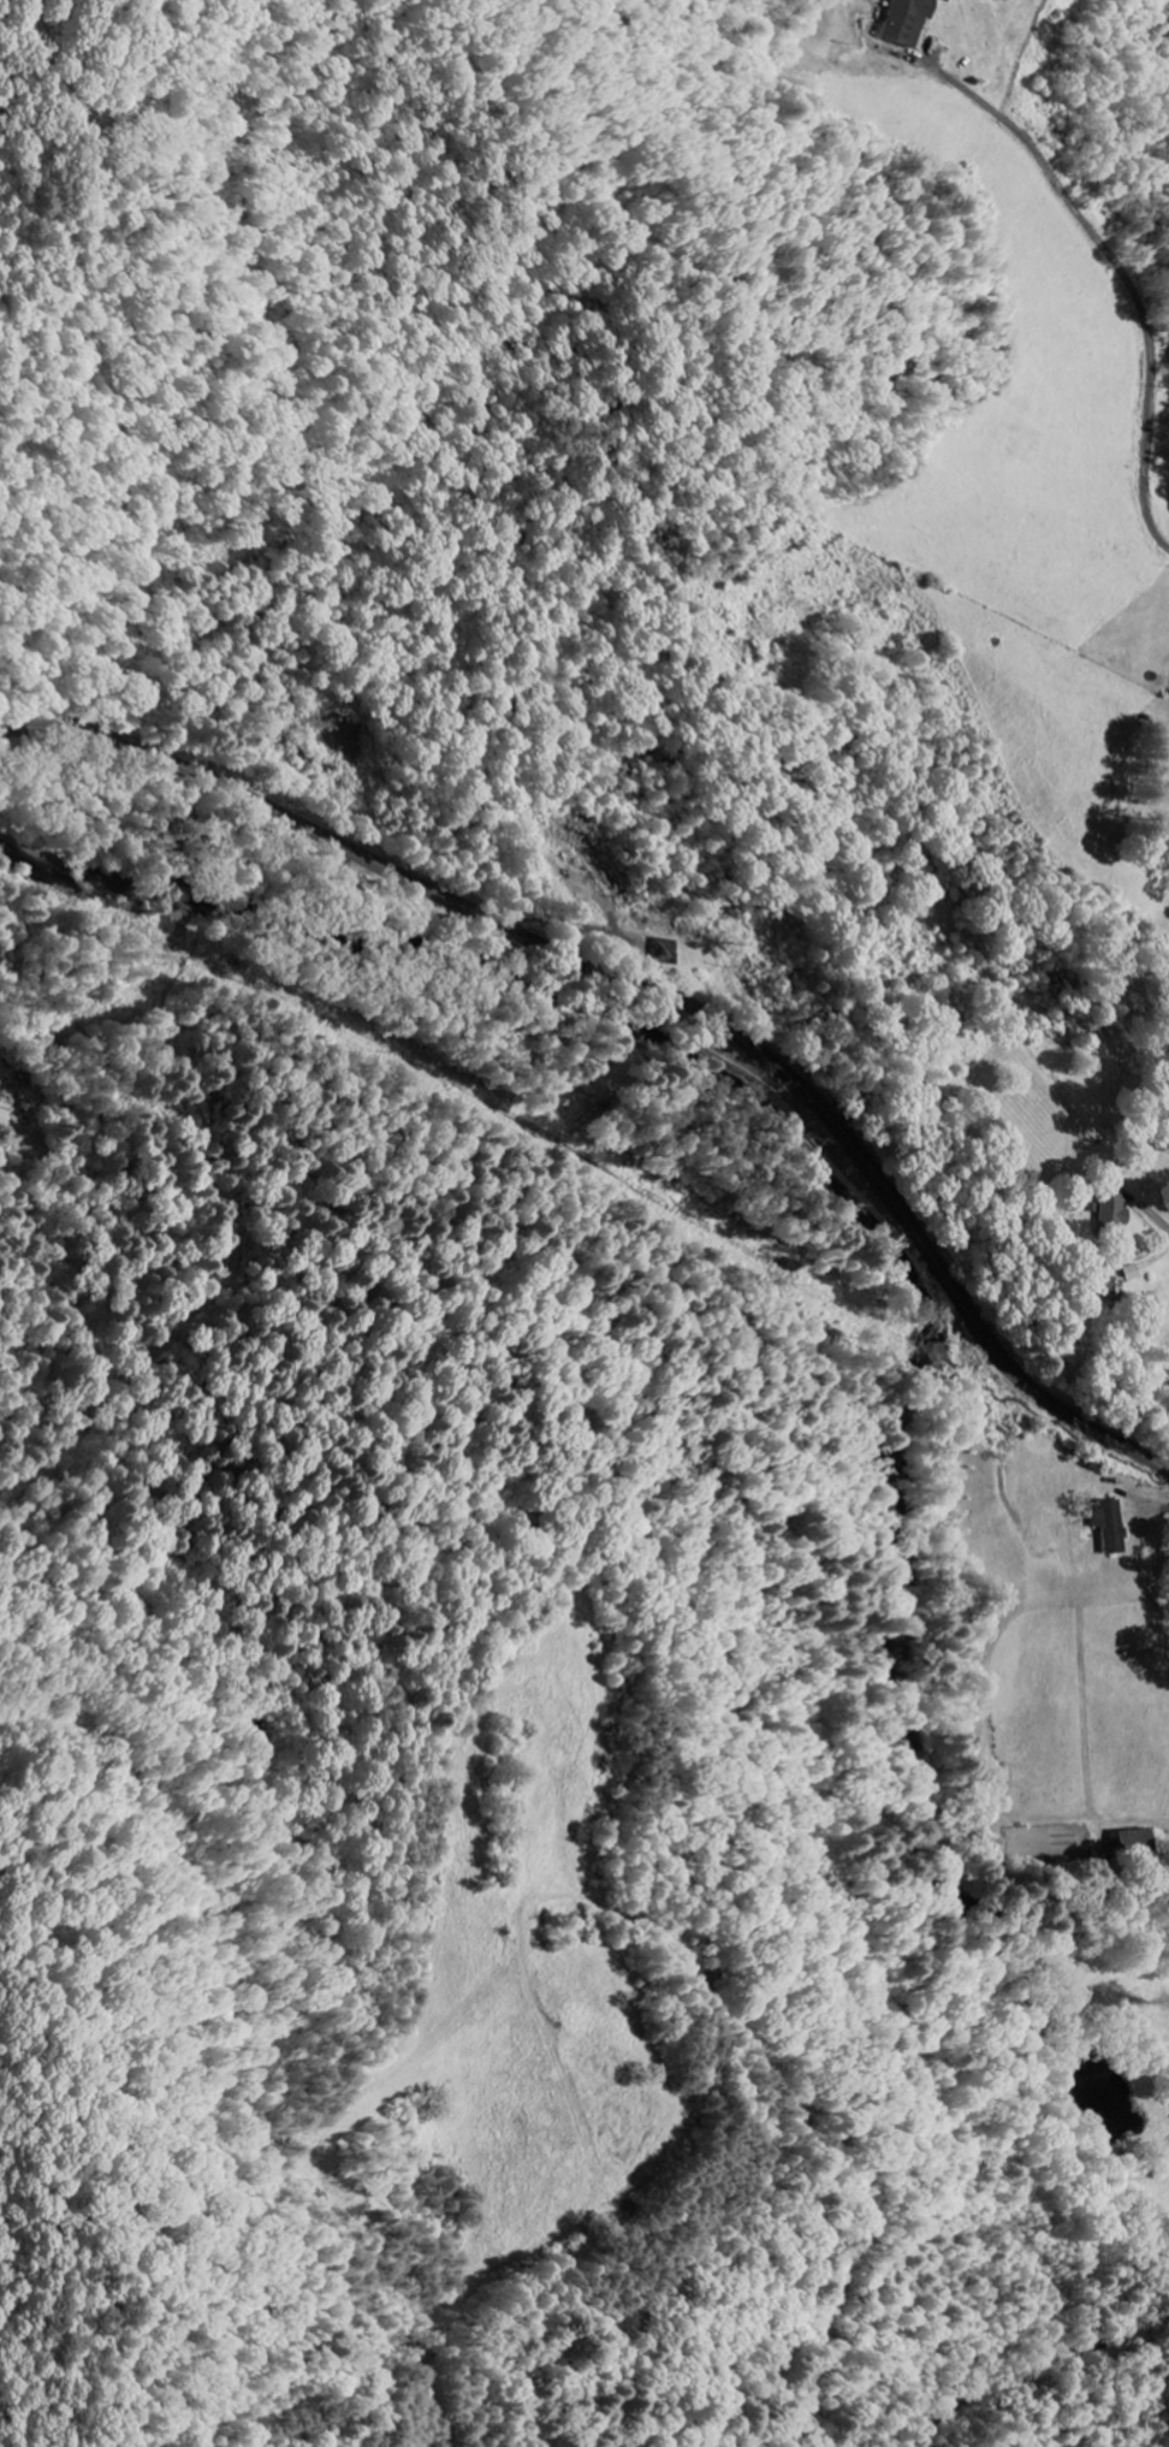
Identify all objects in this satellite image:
building: (915, 20)
building: (670, 950)
road: (657, 990)
building: (2, 1113)
building: (1116, 1213)
building: (1134, 1272)
building: (1117, 1524)
building: (1135, 1841)
road: (833, 2001)

